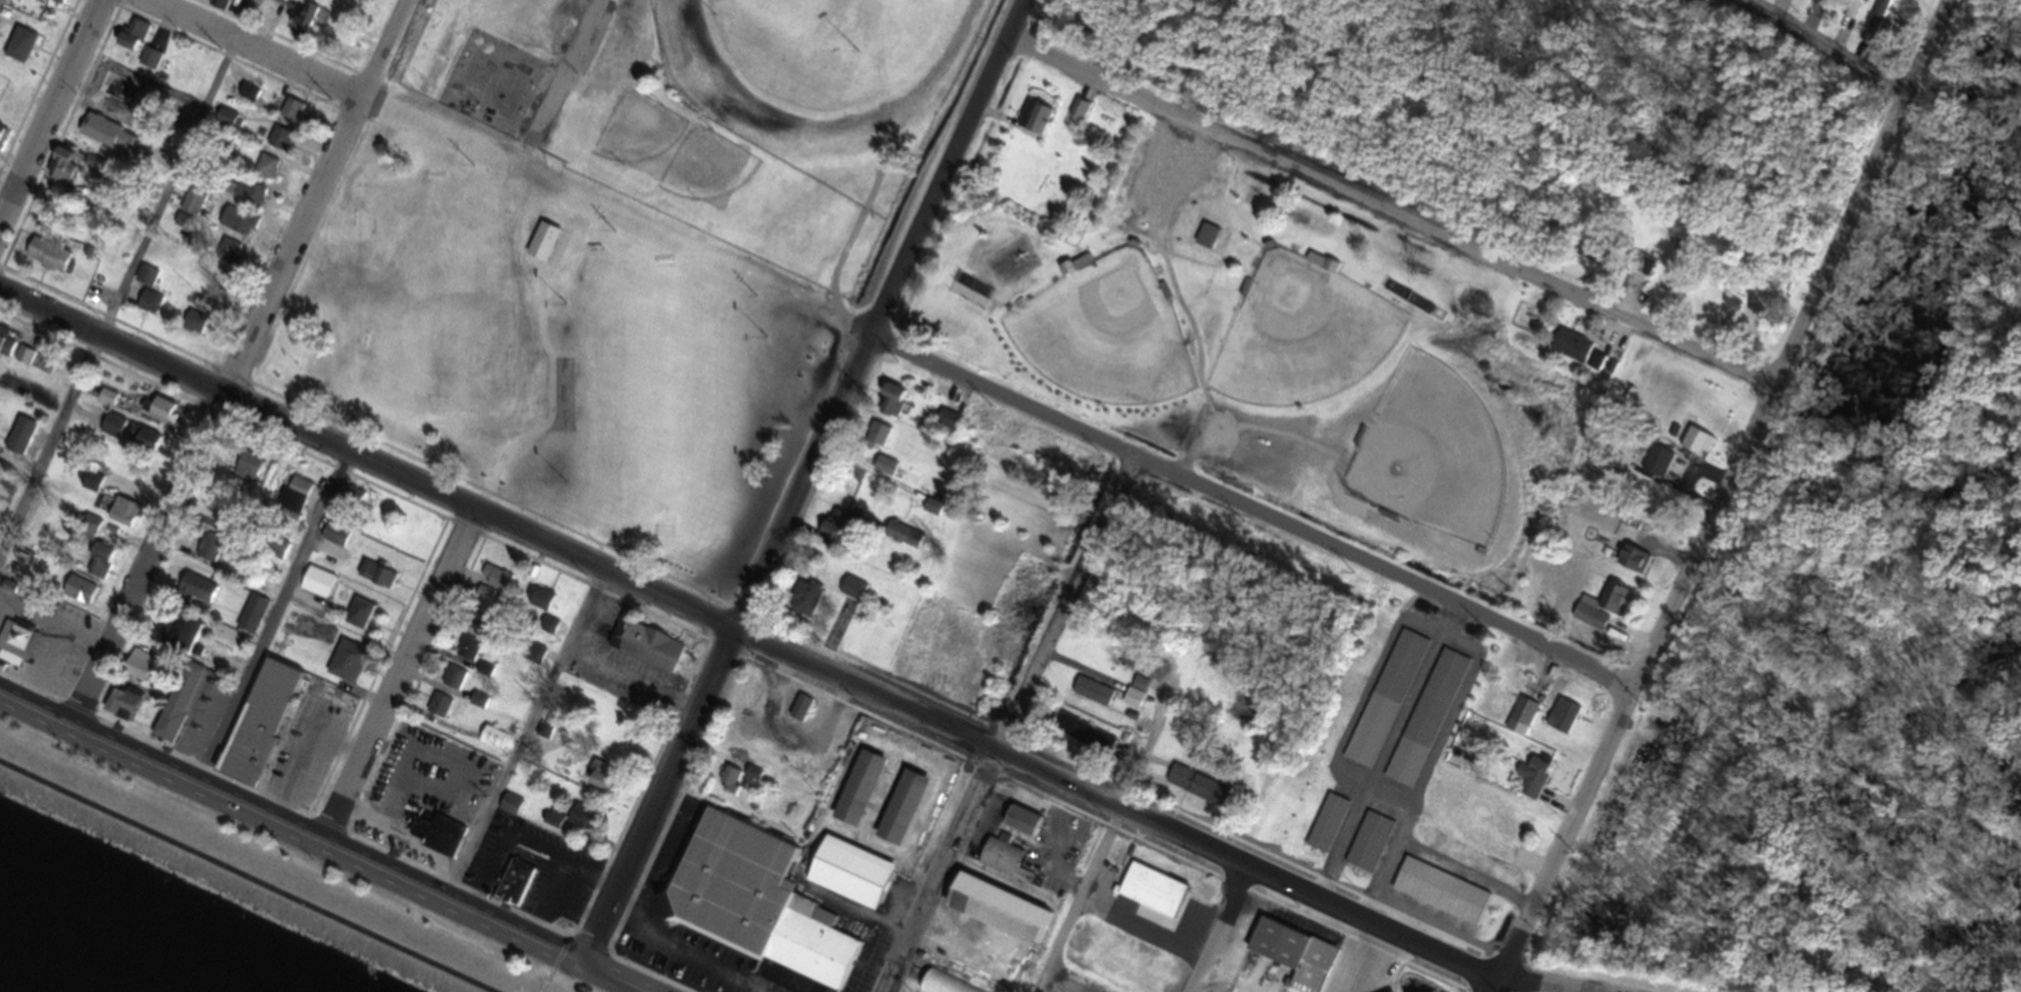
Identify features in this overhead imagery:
building: (1819, 2)
building: (53, 4)
building: (221, 7)
building: (1855, 12)
building: (302, 23)
building: (131, 41)
building: (618, 47)
road: (252, 49)
road: (382, 49)
road: (1817, 51)
building: (17, 53)
road: (566, 62)
building: (149, 65)
park: (474, 82)
park: (507, 97)
road: (51, 112)
building: (290, 116)
building: (1078, 116)
building: (228, 125)
building: (1037, 125)
building: (2, 141)
building: (279, 146)
road: (949, 167)
building: (267, 171)
building: (247, 199)
building: (193, 205)
building: (488, 210)
road: (1393, 213)
building: (236, 226)
building: (1206, 242)
park: (613, 250)
building: (228, 259)
building: (46, 260)
building: (1601, 267)
building: (1643, 271)
road: (128, 279)
building: (145, 282)
building: (148, 309)
building: (1743, 326)
park: (1244, 327)
building: (193, 329)
building: (4, 345)
building: (1574, 353)
building: (23, 363)
park: (548, 364)
building: (890, 407)
building: (163, 416)
road: (214, 416)
building: (947, 427)
building: (111, 431)
building: (878, 441)
building: (19, 442)
building: (885, 471)
building: (1670, 471)
building: (247, 474)
road: (1722, 497)
building: (127, 501)
building: (295, 501)
road: (1251, 507)
building: (931, 512)
building: (829, 537)
building: (334, 540)
building: (207, 555)
building: (99, 566)
building: (1632, 566)
building: (266, 577)
building: (376, 581)
building: (494, 582)
building: (315, 588)
building: (853, 595)
building: (78, 597)
building: (194, 597)
building: (483, 601)
building: (804, 604)
building: (539, 605)
building: (1601, 614)
building: (358, 619)
building: (251, 621)
road: (276, 623)
building: (548, 632)
building: (591, 635)
building: (176, 641)
building: (16, 647)
building: (644, 651)
road: (726, 652)
building: (467, 654)
road: (787, 655)
building: (533, 660)
building: (214, 661)
building: (345, 668)
building: (1401, 673)
building: (483, 676)
road: (397, 679)
building: (452, 685)
building: (1092, 697)
building: (1136, 698)
building: (1436, 705)
building: (177, 708)
building: (120, 710)
building: (438, 711)
building: (800, 715)
road: (1012, 723)
building: (1521, 723)
building: (1561, 724)
building: (258, 729)
building: (1083, 740)
road: (528, 741)
building: (491, 743)
building: (599, 780)
building: (1532, 782)
building: (1196, 792)
building: (857, 794)
building: (900, 813)
building: (564, 824)
building: (1020, 826)
road: (1111, 832)
road: (524, 838)
building: (436, 841)
building: (1500, 843)
road: (314, 846)
building: (1369, 849)
building: (1002, 865)
road: (481, 871)
park: (255, 874)
road: (240, 879)
building: (849, 879)
road: (563, 880)
building: (513, 890)
building: (1152, 897)
building: (1439, 898)
building: (754, 910)
building: (996, 916)
road: (1146, 926)
road: (1222, 930)
road: (673, 956)
building: (1292, 958)
road: (1361, 958)
building: (938, 985)

